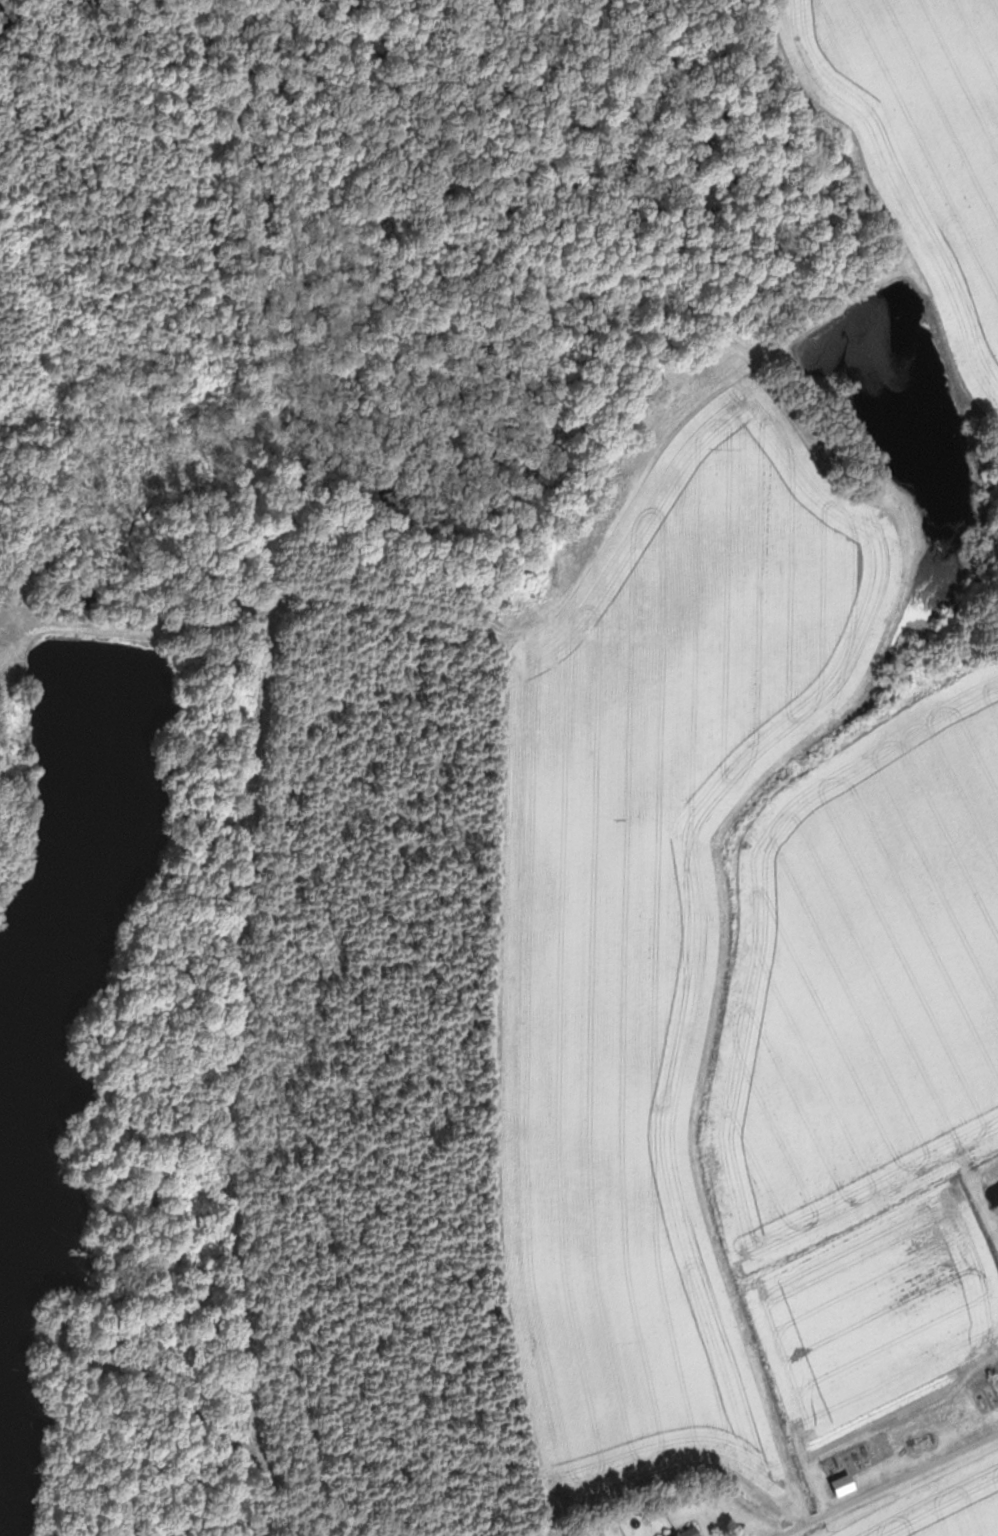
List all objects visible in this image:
building: (846, 1485)
road: (896, 1485)
building: (691, 1531)

